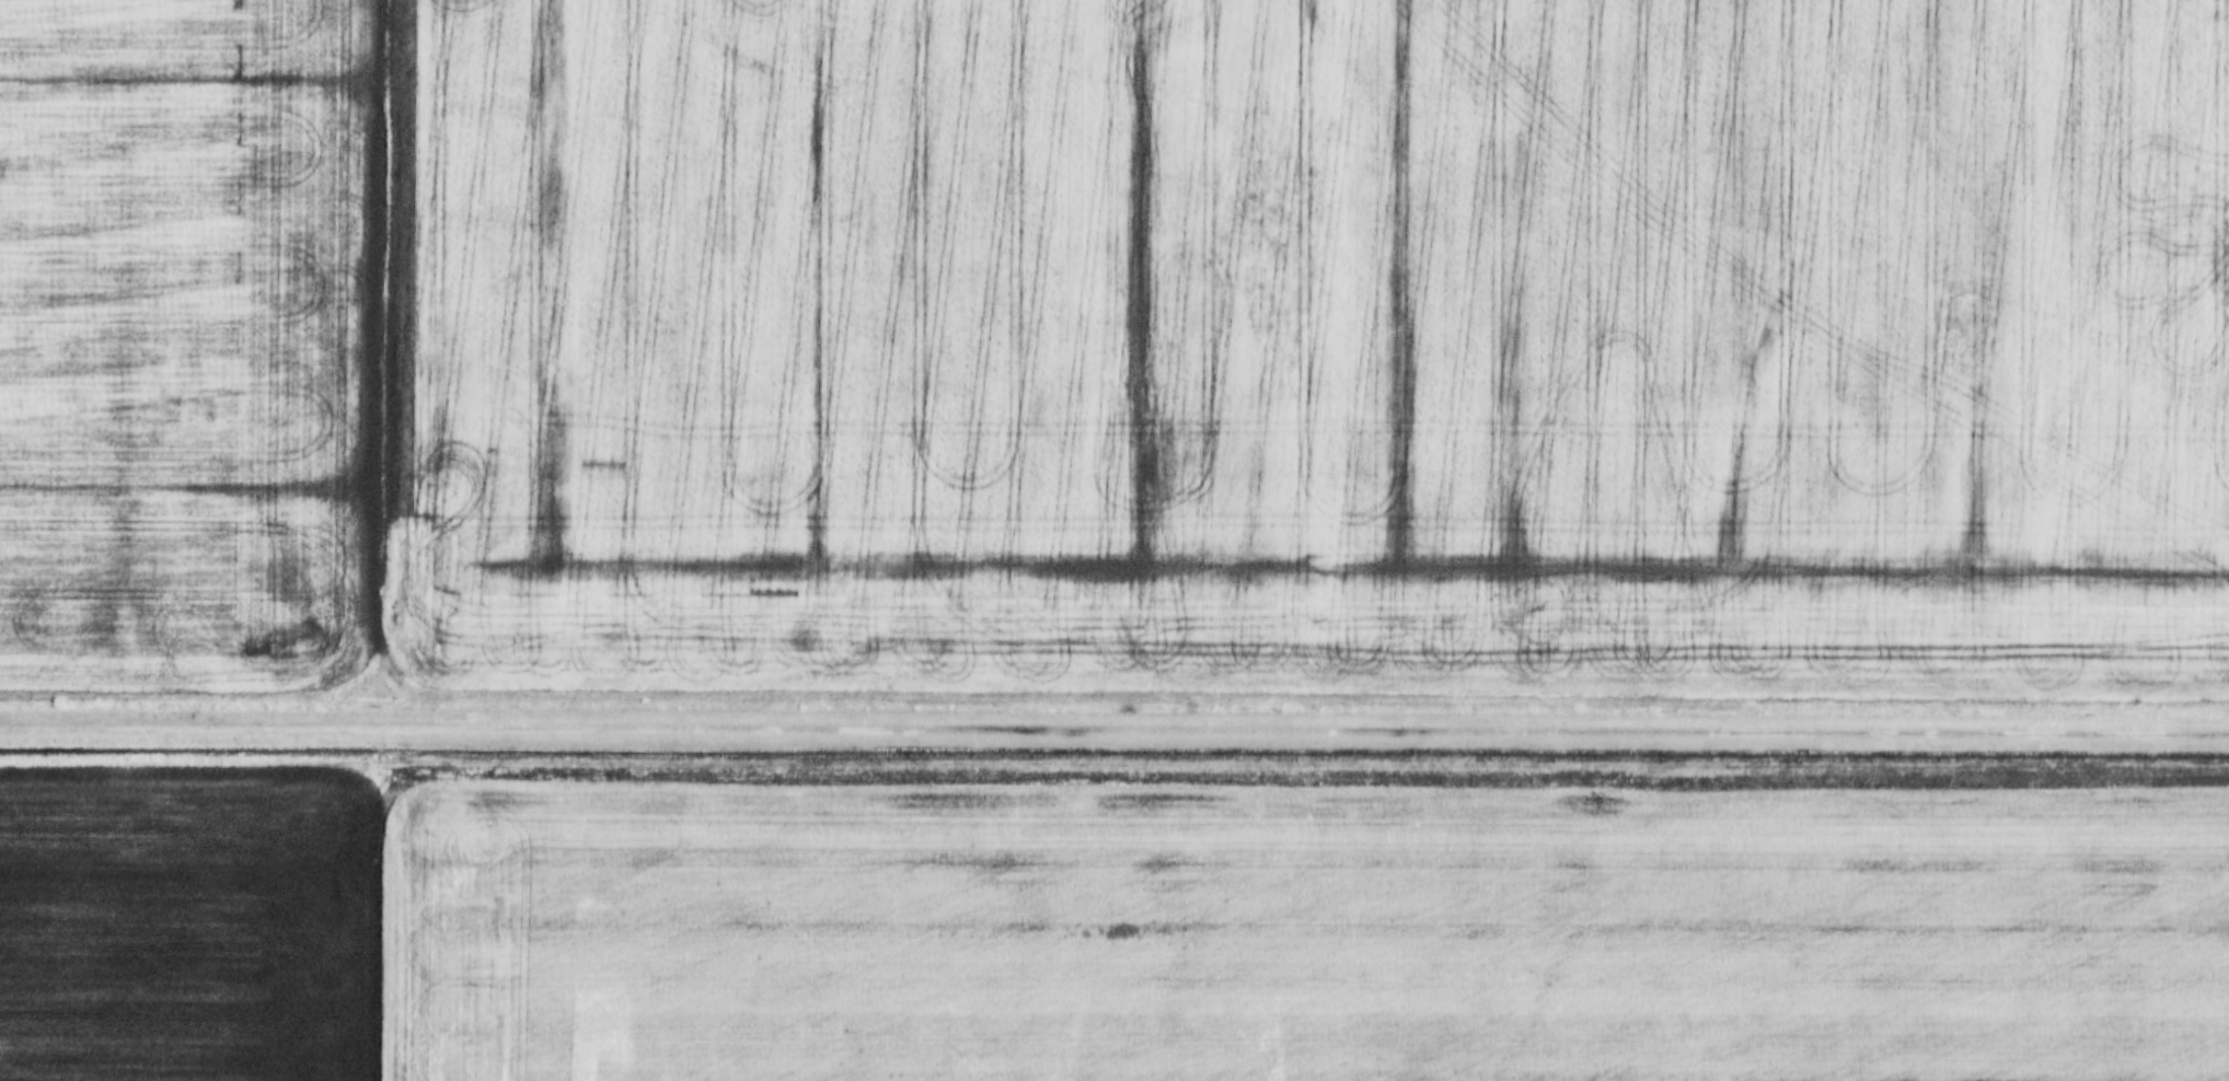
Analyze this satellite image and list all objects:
road: (1114, 730)

